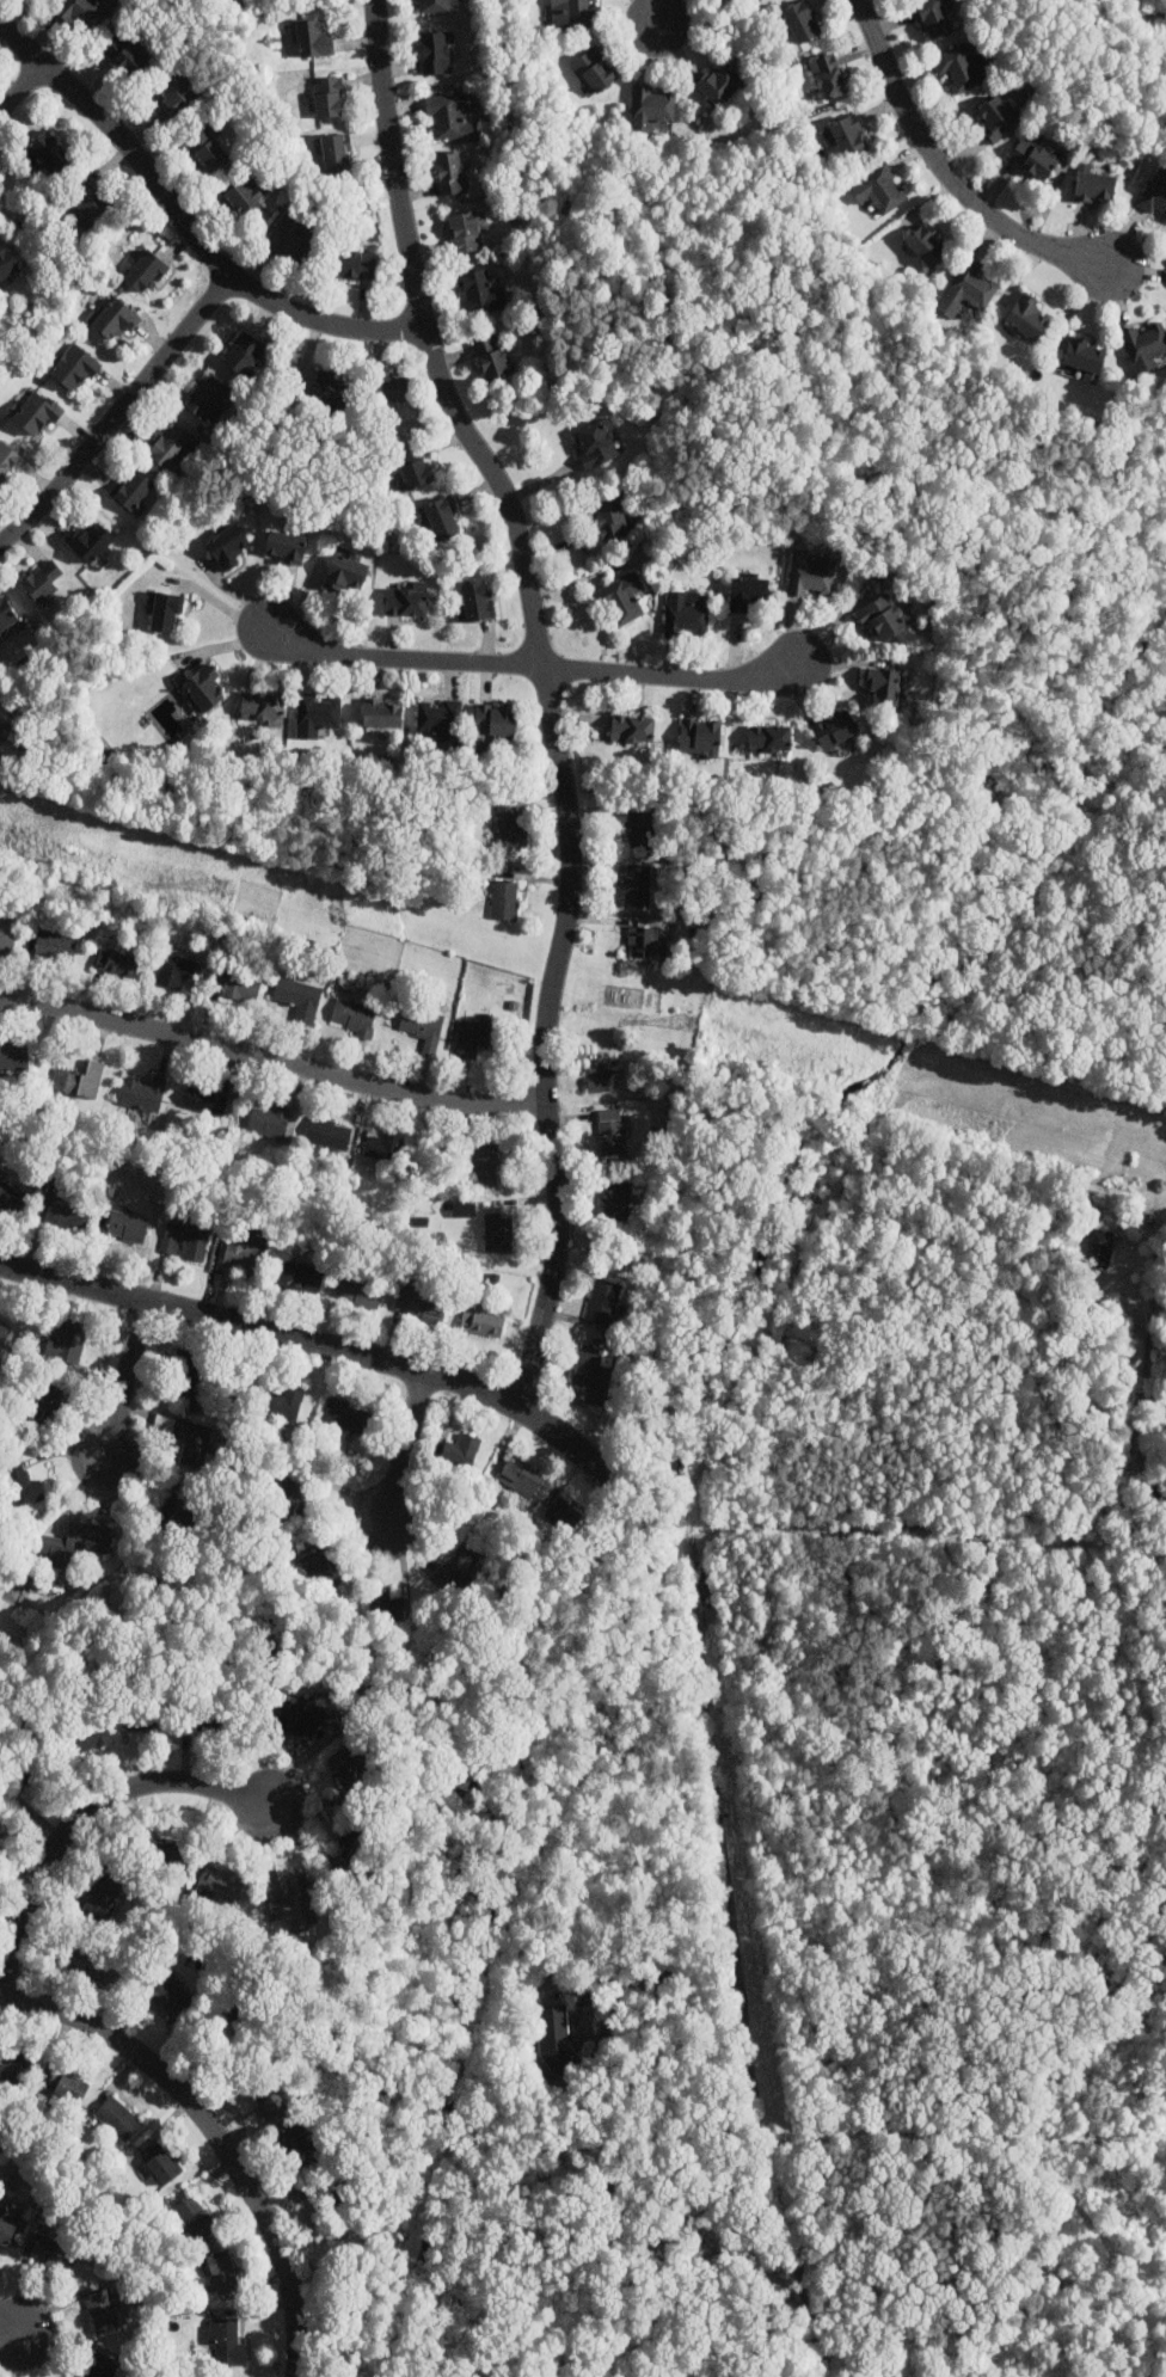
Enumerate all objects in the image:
building: (761, 1)
building: (435, 6)
road: (655, 8)
building: (84, 13)
building: (572, 13)
building: (933, 18)
building: (802, 22)
building: (312, 39)
building: (436, 54)
building: (125, 55)
building: (962, 66)
building: (595, 70)
building: (828, 78)
road: (22, 82)
building: (720, 84)
building: (174, 96)
building: (329, 98)
building: (651, 108)
building: (449, 115)
building: (998, 121)
building: (848, 137)
building: (207, 151)
building: (49, 153)
building: (335, 153)
building: (1035, 159)
road: (944, 170)
building: (450, 173)
building: (1096, 186)
building: (879, 189)
building: (1155, 195)
building: (244, 198)
building: (90, 199)
road: (184, 220)
building: (465, 233)
building: (290, 239)
building: (927, 246)
building: (6, 265)
building: (354, 265)
building: (145, 272)
building: (970, 285)
building: (481, 294)
building: (1026, 317)
building: (115, 320)
building: (1144, 344)
building: (244, 354)
building: (1085, 356)
building: (492, 358)
building: (73, 368)
building: (388, 389)
building: (330, 393)
building: (207, 399)
road: (118, 411)
building: (36, 412)
building: (595, 444)
building: (172, 448)
building: (6, 459)
building: (412, 469)
building: (134, 492)
building: (610, 518)
building: (440, 520)
building: (90, 542)
building: (227, 547)
building: (284, 547)
building: (346, 575)
building: (812, 575)
building: (42, 583)
building: (749, 595)
building: (622, 600)
building: (477, 602)
building: (406, 603)
road: (222, 604)
building: (166, 614)
building: (6, 615)
building: (686, 616)
building: (883, 619)
road: (405, 656)
road: (668, 674)
building: (885, 688)
building: (203, 689)
road: (546, 694)
building: (262, 708)
building: (382, 714)
building: (318, 715)
building: (441, 720)
building: (495, 721)
building: (633, 730)
building: (835, 730)
building: (700, 737)
building: (769, 741)
building: (637, 824)
building: (510, 828)
building: (638, 886)
power tower: (222, 889)
building: (505, 901)
building: (7, 944)
building: (646, 945)
building: (55, 946)
building: (117, 964)
building: (177, 971)
building: (238, 985)
building: (299, 1000)
building: (352, 1016)
power tower: (692, 1025)
building: (423, 1026)
building: (477, 1037)
building: (14, 1057)
road: (271, 1058)
building: (605, 1075)
building: (80, 1081)
building: (145, 1093)
building: (205, 1101)
building: (270, 1120)
building: (610, 1131)
building: (329, 1134)
building: (386, 1145)
building: (485, 1165)
building: (11, 1197)
building: (616, 1198)
building: (67, 1209)
building: (128, 1226)
building: (498, 1232)
building: (185, 1241)
building: (1100, 1248)
building: (241, 1255)
building: (301, 1277)
building: (360, 1291)
building: (603, 1301)
building: (422, 1304)
building: (481, 1323)
building: (4, 1333)
building: (68, 1341)
road: (313, 1345)
building: (593, 1370)
building: (188, 1371)
road: (1147, 1374)
road: (124, 1382)
building: (282, 1402)
building: (43, 1405)
building: (348, 1417)
building: (186, 1437)
road: (404, 1449)
building: (462, 1450)
road: (673, 1466)
road: (638, 1469)
building: (520, 1479)
building: (23, 1484)
road: (679, 1495)
building: (290, 1500)
building: (172, 1513)
building: (564, 1515)
building: (74, 1543)
building: (458, 1565)
building: (323, 1570)
building: (385, 1604)
building: (148, 1716)
building: (300, 1718)
building: (209, 1719)
building: (87, 1738)
building: (348, 1763)
building: (26, 1768)
road: (84, 1813)
building: (6, 1828)
building: (358, 1843)
building: (167, 1857)
building: (216, 1881)
building: (103, 1896)
building: (296, 1904)
road: (734, 1951)
building: (94, 1965)
road: (657, 1971)
road: (2, 1990)
building: (174, 1998)
building: (556, 2038)
building: (17, 2070)
building: (70, 2087)
building: (266, 2100)
building: (118, 2118)
road: (214, 2136)
building: (293, 2143)
building: (161, 2164)
building: (329, 2192)
building: (195, 2217)
building: (6, 2231)
building: (54, 2254)
building: (222, 2272)
building: (103, 2310)
road: (11, 2322)
road: (656, 2338)
building: (225, 2341)
building: (103, 2367)
road: (754, 2376)

